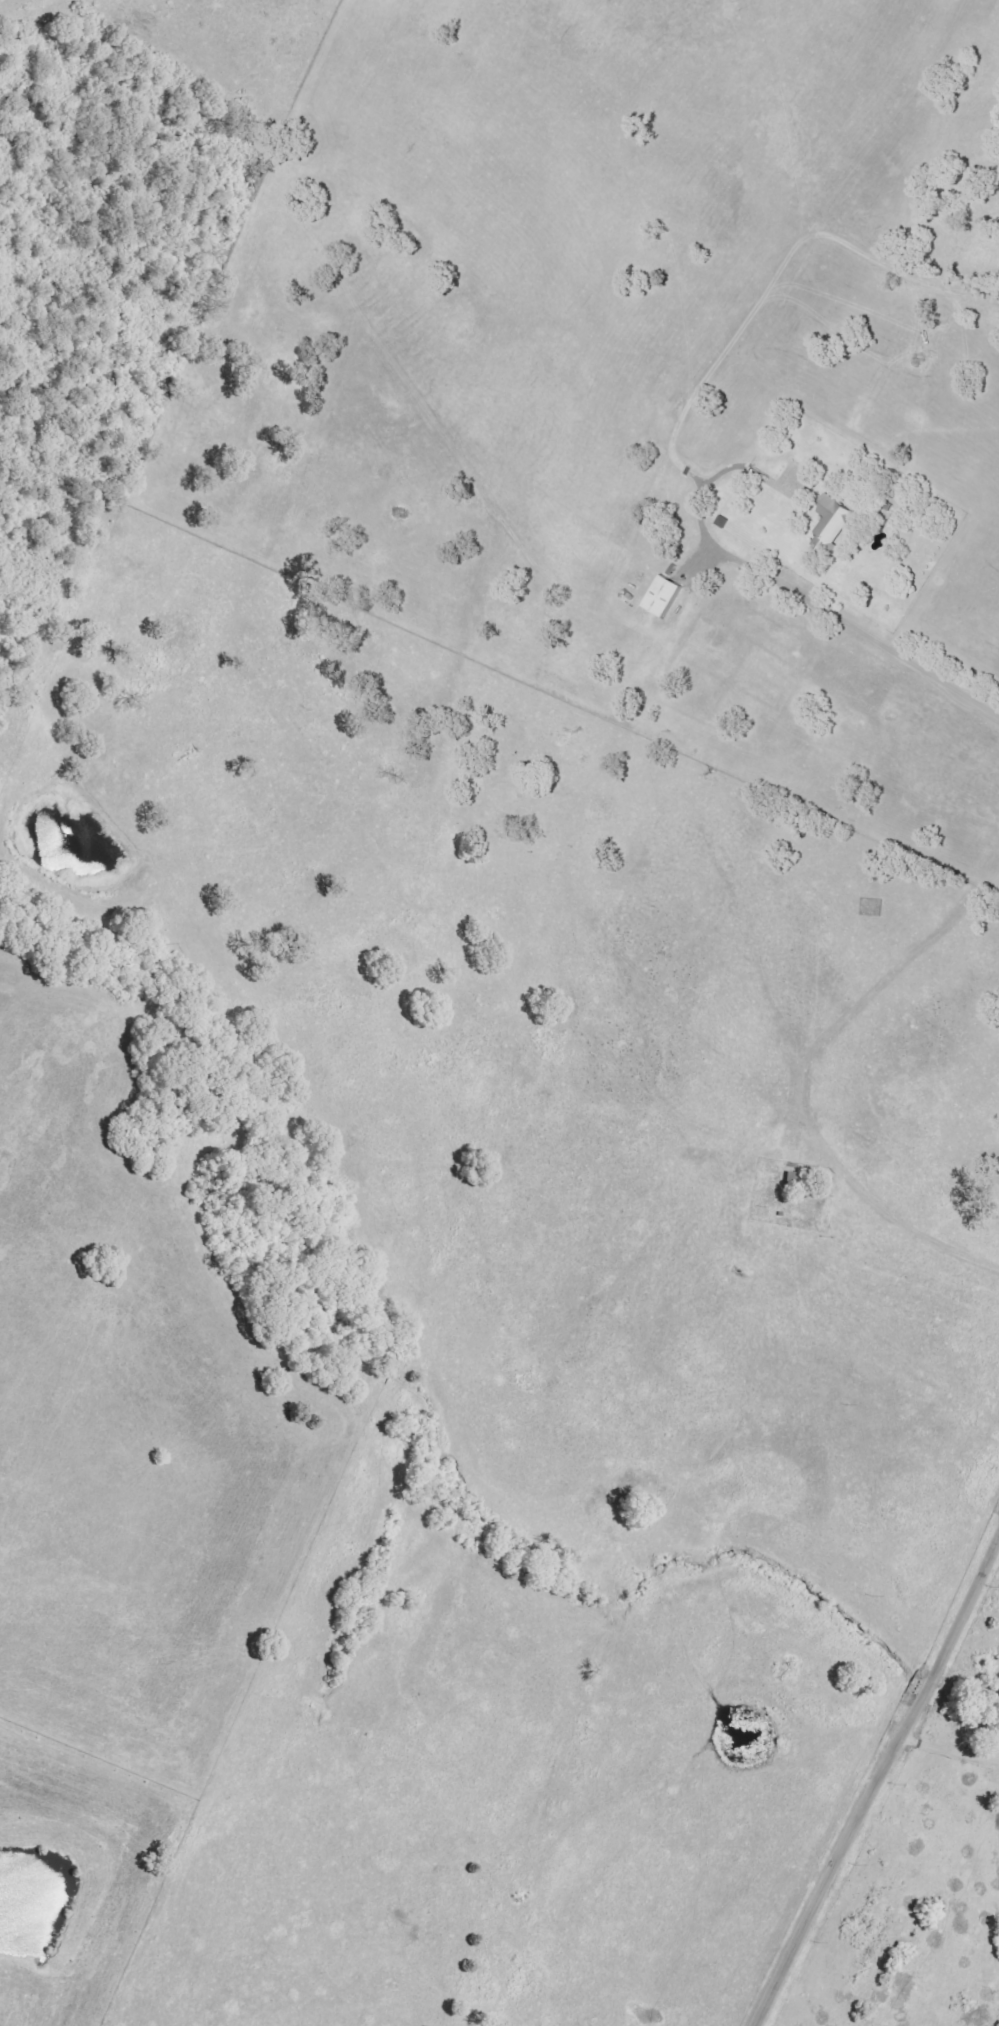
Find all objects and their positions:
road: (764, 301)
road: (751, 470)
building: (837, 525)
building: (670, 597)
road: (852, 634)
road: (885, 1184)
road: (877, 1781)

